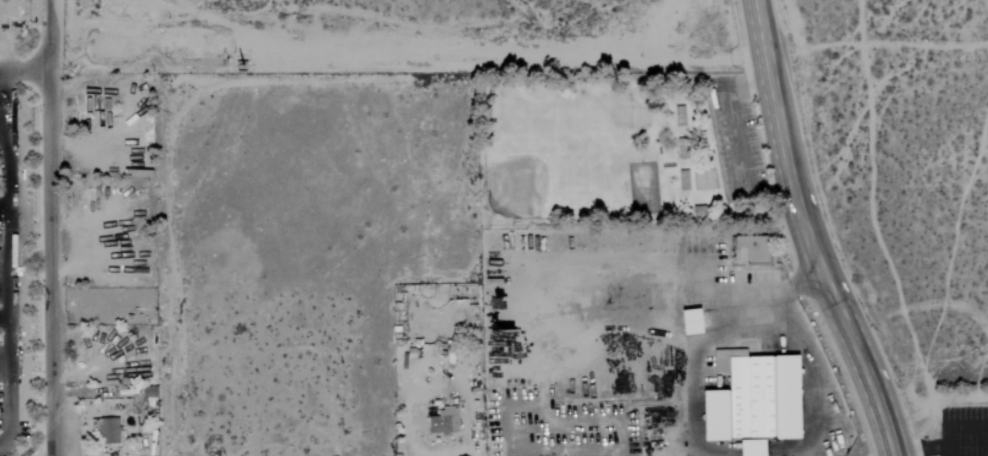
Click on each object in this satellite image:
road: (618, 66)
road: (23, 70)
building: (95, 106)
road: (734, 142)
park: (619, 149)
building: (91, 200)
road: (3, 213)
road: (50, 228)
road: (806, 234)
building: (755, 248)
road: (9, 297)
road: (757, 314)
building: (697, 321)
road: (634, 345)
road: (536, 366)
road: (414, 395)
building: (760, 402)
building: (446, 421)
road: (957, 425)
building: (110, 430)
road: (924, 446)
road: (472, 452)

